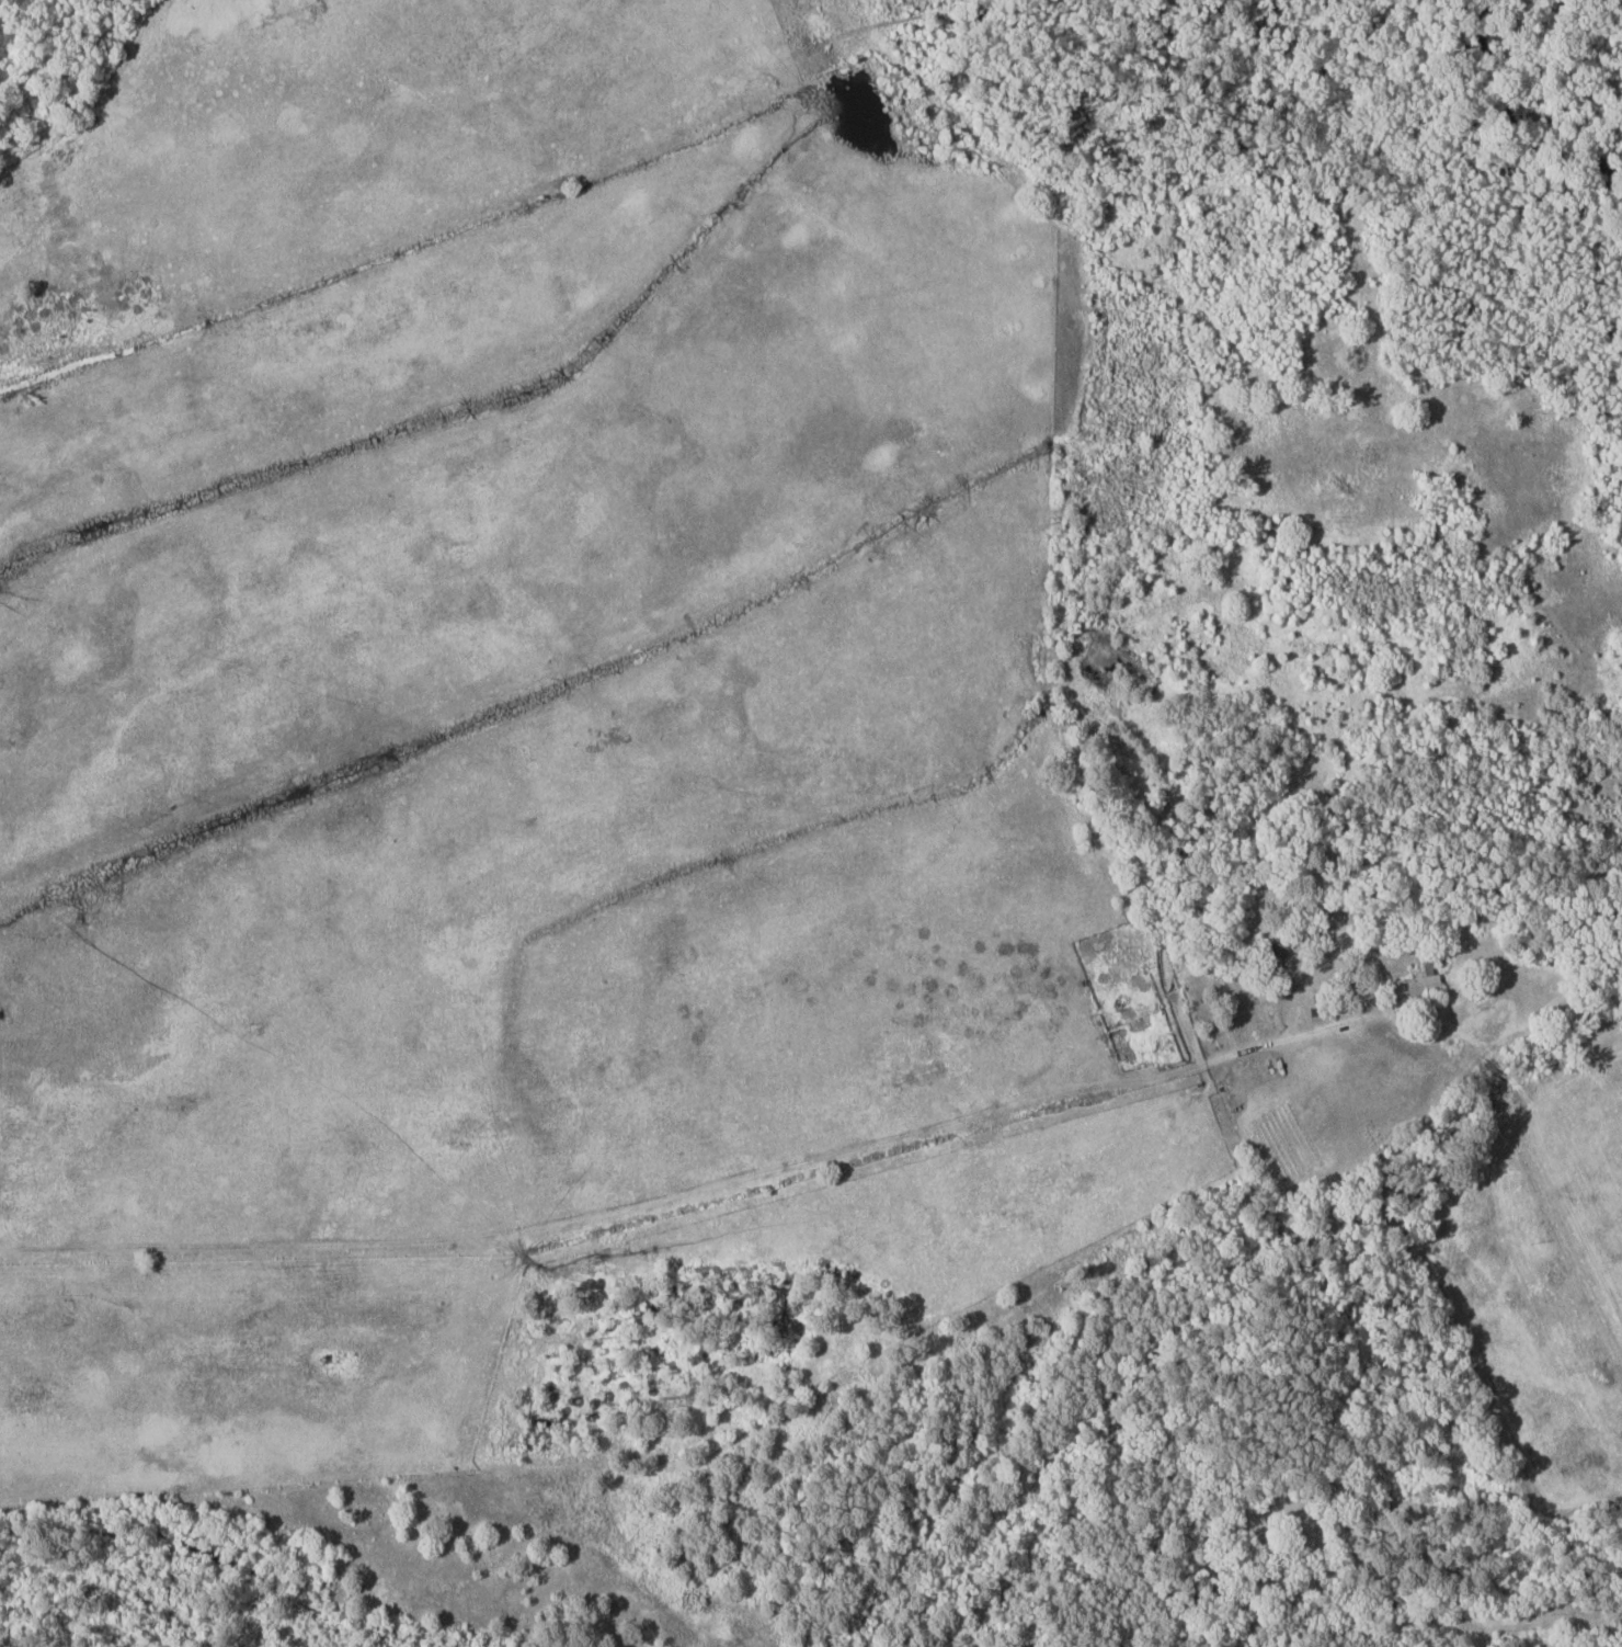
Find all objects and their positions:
building: (1280, 947)
building: (1417, 985)
building: (1275, 1540)

